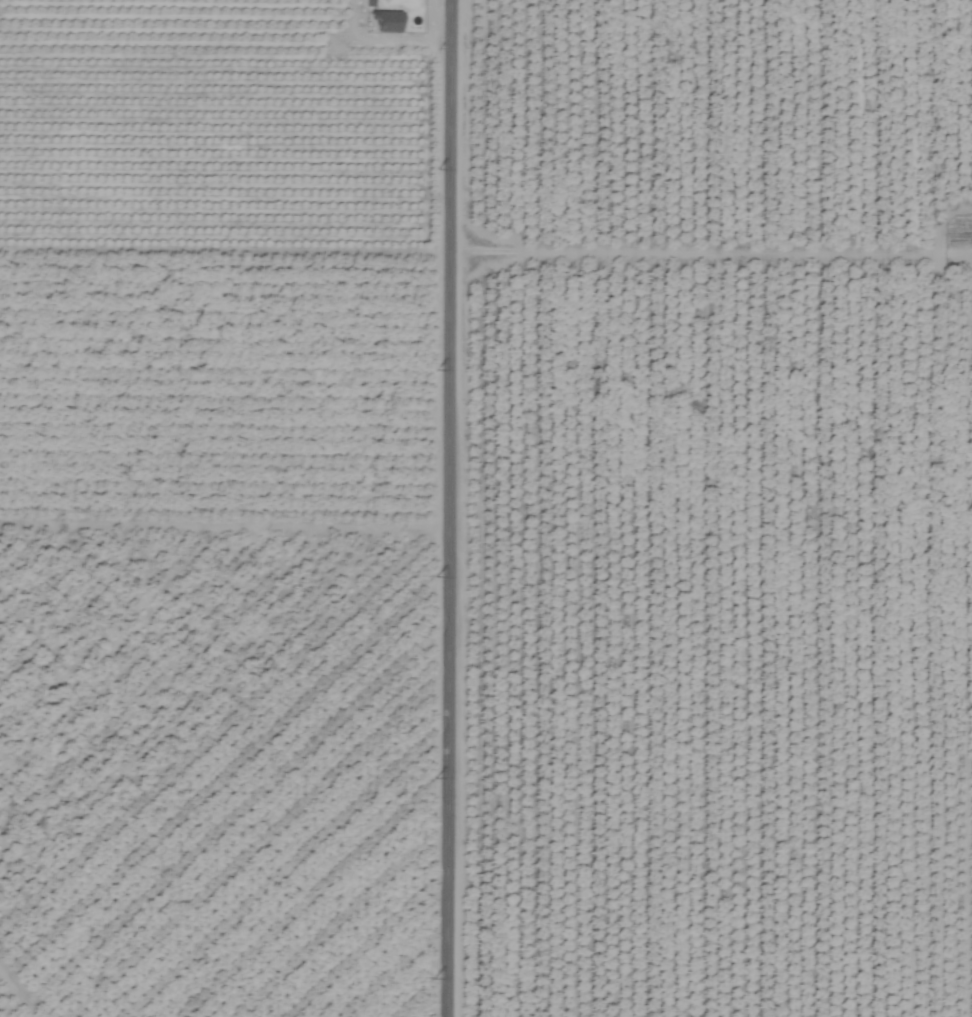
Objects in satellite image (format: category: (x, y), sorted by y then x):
building: (368, 3)
building: (385, 21)
road: (706, 259)
road: (438, 508)
crop: (486, 508)

